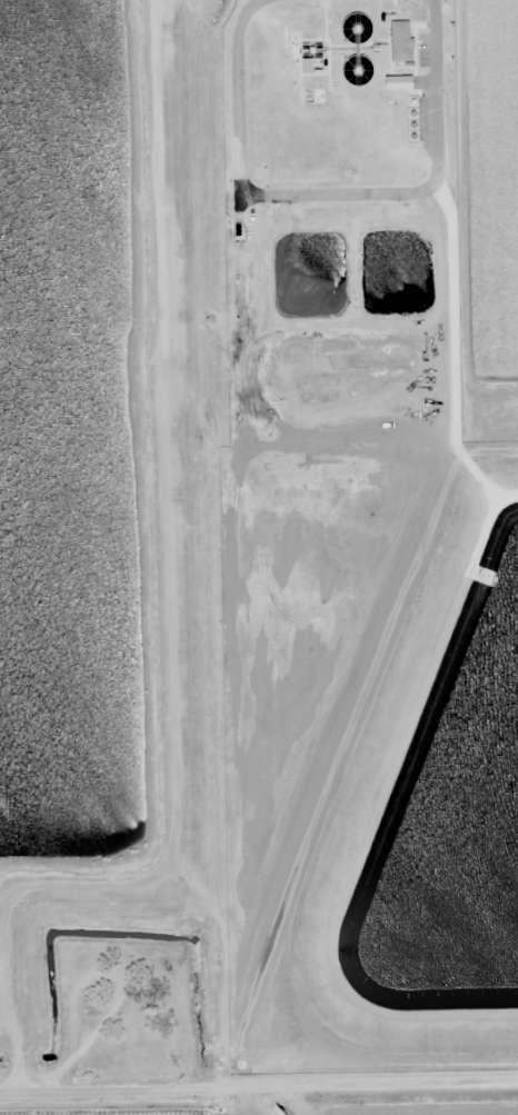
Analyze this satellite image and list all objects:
road: (258, 1087)

